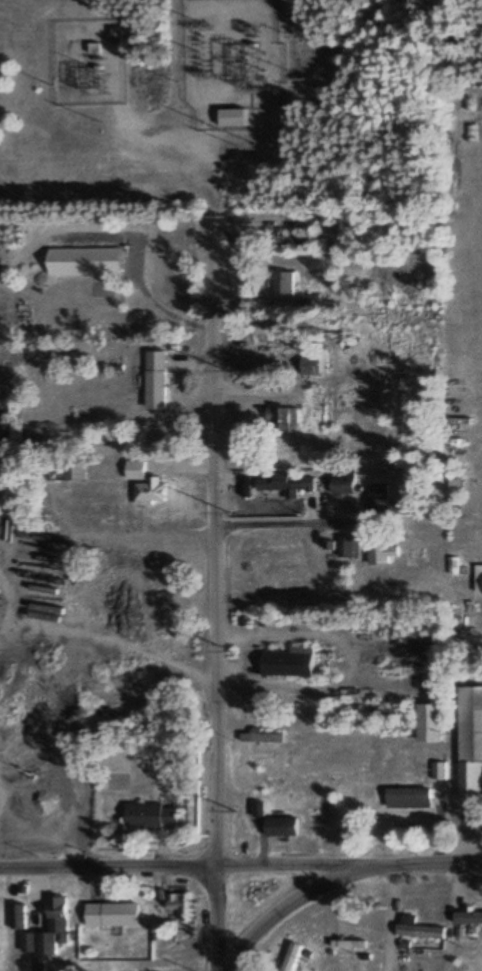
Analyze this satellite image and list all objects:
building: (96, 53)
power substation: (93, 61)
power substation: (234, 61)
building: (233, 116)
building: (85, 256)
building: (285, 283)
building: (315, 362)
building: (157, 380)
building: (286, 418)
building: (72, 467)
building: (136, 469)
building: (286, 483)
building: (343, 484)
building: (152, 492)
building: (383, 503)
building: (346, 548)
road: (217, 563)
building: (478, 580)
building: (287, 663)
building: (427, 724)
building: (260, 737)
building: (469, 743)
building: (407, 798)
building: (151, 816)
building: (274, 823)
road: (431, 862)
road: (298, 864)
road: (107, 867)
road: (292, 901)
building: (176, 902)
building: (111, 915)
building: (17, 917)
building: (467, 918)
building: (47, 930)
building: (419, 932)
building: (291, 957)

